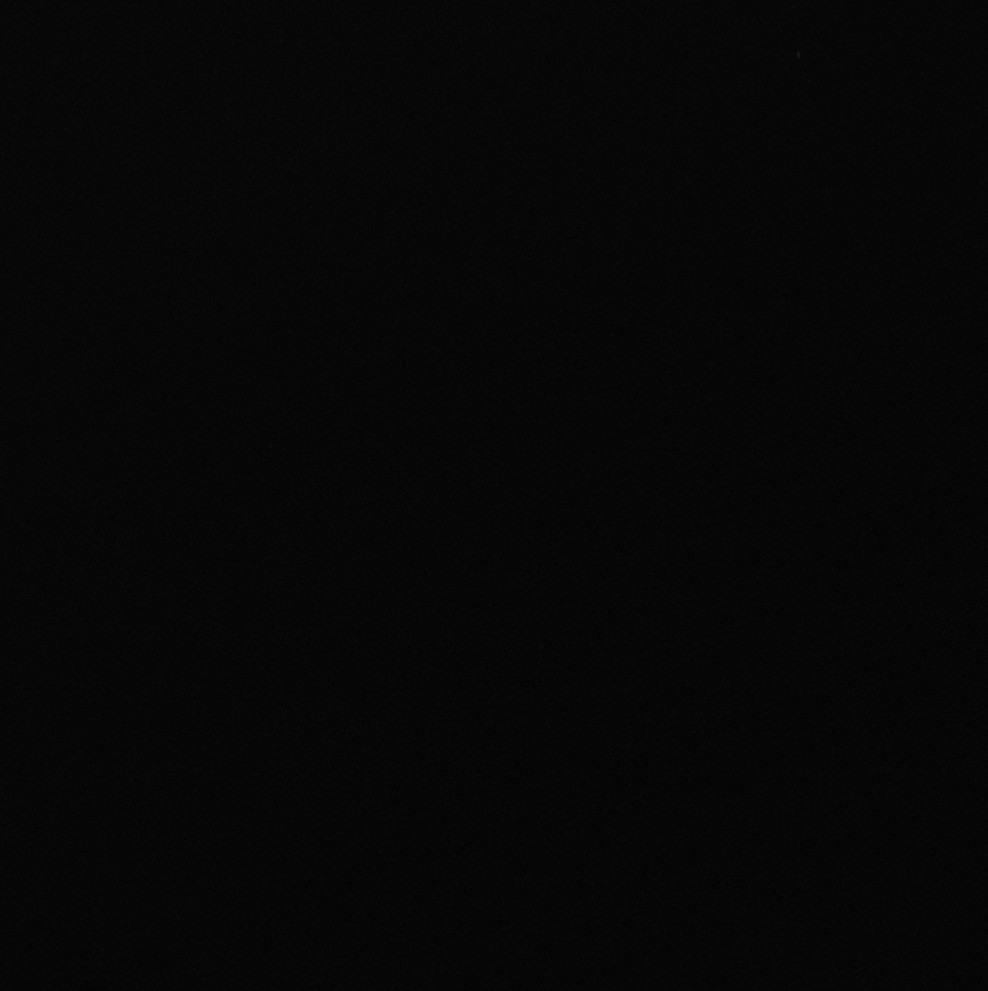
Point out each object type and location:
river: (494, 616)

